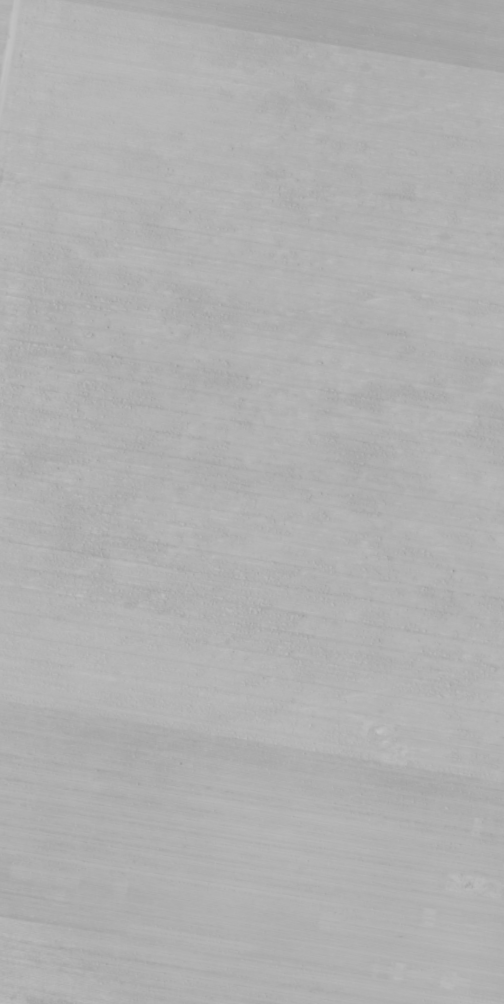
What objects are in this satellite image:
road: (7, 46)
landfill: (446, 640)

